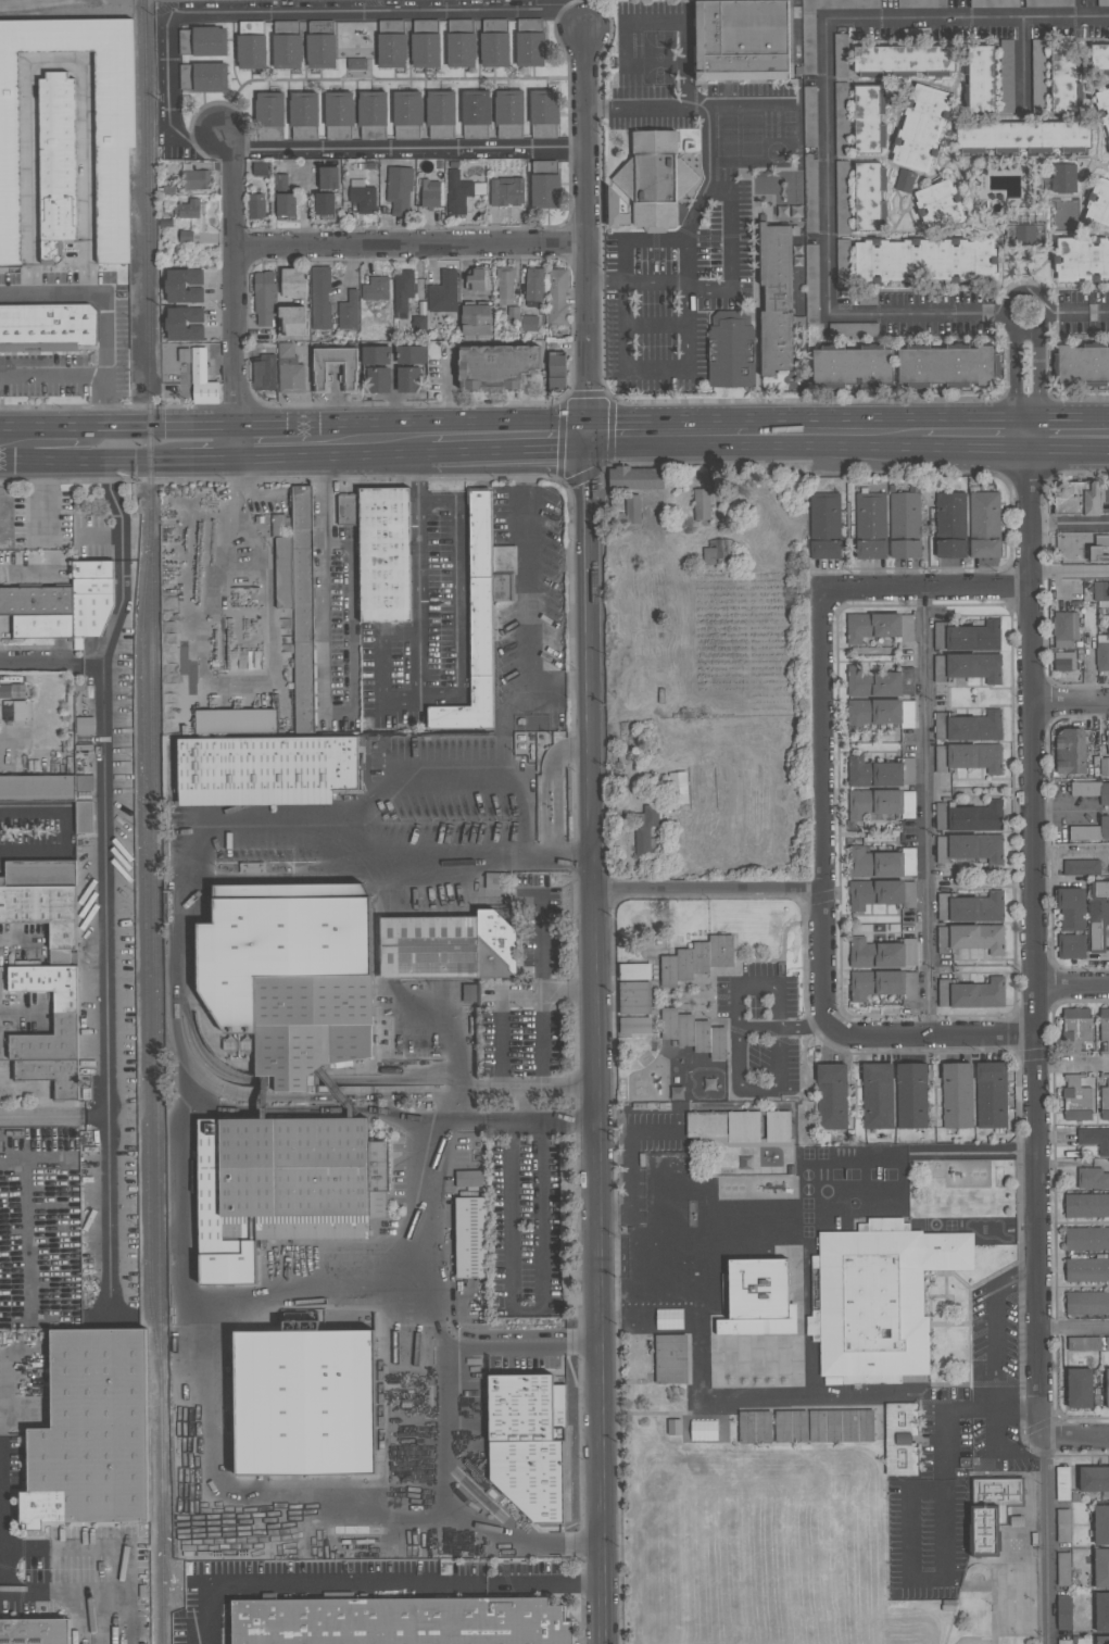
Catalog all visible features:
building: (994, 3)
building: (1048, 3)
building: (1102, 3)
building: (921, 4)
road: (967, 21)
road: (623, 23)
building: (742, 40)
building: (203, 41)
building: (808, 42)
building: (425, 43)
building: (494, 43)
building: (530, 43)
building: (391, 45)
building: (461, 45)
building: (251, 46)
building: (287, 46)
building: (320, 46)
building: (840, 55)
building: (1099, 59)
building: (903, 60)
building: (355, 64)
road: (1022, 66)
road: (168, 73)
building: (1037, 74)
building: (1006, 76)
building: (203, 77)
building: (1062, 79)
building: (981, 80)
road: (688, 87)
building: (114, 99)
building: (1102, 108)
road: (704, 112)
building: (543, 113)
building: (406, 114)
building: (440, 114)
building: (475, 114)
building: (508, 114)
building: (339, 115)
building: (371, 115)
building: (270, 116)
building: (303, 116)
building: (808, 117)
building: (867, 118)
building: (841, 120)
building: (920, 127)
building: (1023, 137)
building: (1108, 142)
building: (1108, 148)
building: (56, 164)
building: (260, 168)
building: (328, 178)
building: (1062, 178)
building: (192, 180)
building: (655, 180)
road: (585, 181)
building: (904, 181)
building: (544, 185)
building: (399, 190)
building: (506, 192)
building: (429, 193)
building: (457, 193)
building: (809, 193)
building: (867, 196)
building: (283, 197)
building: (362, 197)
building: (841, 197)
building: (1098, 202)
building: (324, 204)
building: (938, 204)
building: (256, 206)
building: (190, 209)
building: (1023, 235)
building: (186, 237)
road: (635, 242)
road: (409, 247)
road: (826, 250)
road: (731, 251)
building: (1082, 259)
building: (924, 260)
building: (842, 263)
building: (477, 279)
road: (603, 280)
building: (294, 281)
road: (679, 281)
building: (810, 283)
building: (184, 286)
building: (505, 286)
building: (533, 287)
building: (376, 289)
building: (403, 291)
building: (442, 293)
road: (234, 294)
parking lot: (676, 294)
building: (557, 297)
building: (263, 298)
building: (320, 299)
building: (776, 299)
building: (348, 312)
road: (1070, 313)
road: (1098, 313)
road: (994, 314)
building: (294, 319)
building: (476, 322)
building: (529, 322)
building: (184, 324)
building: (47, 327)
building: (853, 328)
road: (1048, 330)
road: (105, 336)
building: (730, 350)
building: (948, 364)
building: (1082, 364)
building: (853, 365)
building: (497, 366)
building: (409, 367)
building: (377, 368)
building: (289, 371)
building: (556, 372)
building: (264, 373)
building: (320, 373)
road: (653, 373)
road: (588, 376)
building: (201, 379)
traffic signals: (589, 391)
road: (1037, 396)
road: (1012, 398)
road: (104, 401)
road: (1060, 417)
road: (881, 418)
road: (668, 419)
traffic signals: (616, 421)
road: (453, 423)
road: (117, 424)
road: (277, 424)
road: (587, 436)
road: (58, 447)
traffic signals: (557, 450)
road: (502, 451)
road: (745, 451)
road: (967, 451)
road: (1069, 451)
road: (328, 455)
road: (75, 456)
road: (194, 457)
building: (635, 478)
traffic signals: (585, 479)
road: (109, 488)
road: (41, 494)
road: (238, 495)
building: (1076, 499)
building: (702, 504)
building: (632, 509)
building: (348, 510)
road: (584, 510)
road: (1069, 523)
building: (984, 525)
building: (824, 526)
building: (870, 526)
building: (904, 526)
building: (950, 526)
building: (1099, 550)
building: (717, 551)
building: (385, 555)
road: (122, 557)
building: (282, 560)
road: (25, 566)
road: (1069, 570)
building: (503, 573)
road: (928, 591)
building: (1101, 593)
building: (91, 597)
building: (37, 600)
building: (303, 610)
building: (41, 626)
building: (476, 627)
building: (878, 627)
building: (1064, 628)
crop: (743, 636)
building: (967, 637)
building: (1102, 653)
building: (1064, 661)
road: (51, 662)
road: (419, 665)
building: (968, 667)
building: (879, 682)
building: (12, 691)
road: (401, 701)
road: (1071, 703)
building: (15, 711)
building: (879, 713)
building: (235, 721)
building: (85, 726)
building: (968, 727)
building: (1108, 743)
building: (1070, 752)
building: (969, 757)
building: (1105, 766)
building: (262, 769)
building: (880, 773)
building: (85, 783)
building: (37, 787)
building: (678, 788)
building: (1092, 791)
building: (880, 803)
road: (823, 810)
road: (1054, 810)
road: (927, 814)
building: (85, 817)
building: (969, 817)
railway: (156, 821)
road: (64, 831)
building: (1091, 831)
building: (646, 834)
building: (970, 848)
road: (1067, 853)
road: (102, 856)
road: (471, 856)
building: (881, 863)
building: (1081, 867)
building: (39, 874)
building: (495, 881)
road: (708, 890)
building: (881, 893)
building: (971, 907)
building: (1071, 908)
building: (43, 914)
building: (1098, 915)
building: (971, 938)
road: (17, 942)
road: (1035, 945)
building: (1071, 946)
building: (448, 948)
railway: (148, 949)
building: (881, 954)
building: (696, 959)
road: (540, 969)
building: (634, 971)
building: (290, 975)
building: (48, 983)
building: (882, 984)
road: (1072, 987)
building: (470, 993)
building: (971, 993)
building: (634, 997)
building: (634, 1026)
road: (781, 1028)
building: (1104, 1028)
building: (1075, 1029)
building: (693, 1033)
road: (932, 1037)
building: (48, 1041)
road: (735, 1043)
road: (541, 1065)
building: (50, 1075)
building: (911, 1095)
building: (957, 1095)
building: (991, 1095)
building: (832, 1096)
building: (877, 1096)
building: (1105, 1097)
building: (1076, 1100)
road: (522, 1104)
road: (595, 1107)
road: (38, 1115)
road: (519, 1120)
building: (706, 1125)
building: (743, 1127)
building: (778, 1127)
building: (1095, 1139)
road: (428, 1178)
building: (1092, 1178)
building: (468, 1179)
building: (282, 1188)
road: (632, 1191)
building: (1086, 1206)
road: (105, 1210)
building: (470, 1237)
building: (1086, 1239)
building: (1087, 1270)
building: (758, 1290)
building: (880, 1297)
building: (1087, 1303)
road: (527, 1309)
road: (994, 1327)
road: (1074, 1328)
building: (1083, 1343)
building: (1107, 1343)
building: (670, 1359)
building: (1107, 1388)
building: (1080, 1389)
building: (305, 1403)
building: (841, 1426)
building: (673, 1427)
building: (754, 1427)
building: (791, 1427)
building: (91, 1432)
road: (442, 1432)
building: (900, 1439)
road: (1074, 1440)
building: (528, 1442)
railway: (130, 1464)
building: (1094, 1479)
road: (3, 1481)
building: (1062, 1483)
road: (910, 1491)
building: (991, 1511)
building: (1062, 1526)
building: (1100, 1526)
road: (1047, 1542)
park: (1006, 1556)
building: (1101, 1568)
building: (1063, 1569)
road: (119, 1570)
road: (376, 1584)
railway: (174, 1585)
building: (1101, 1611)
building: (1063, 1612)
building: (400, 1621)
building: (34, 1631)
building: (1101, 1639)
building: (1063, 1642)

